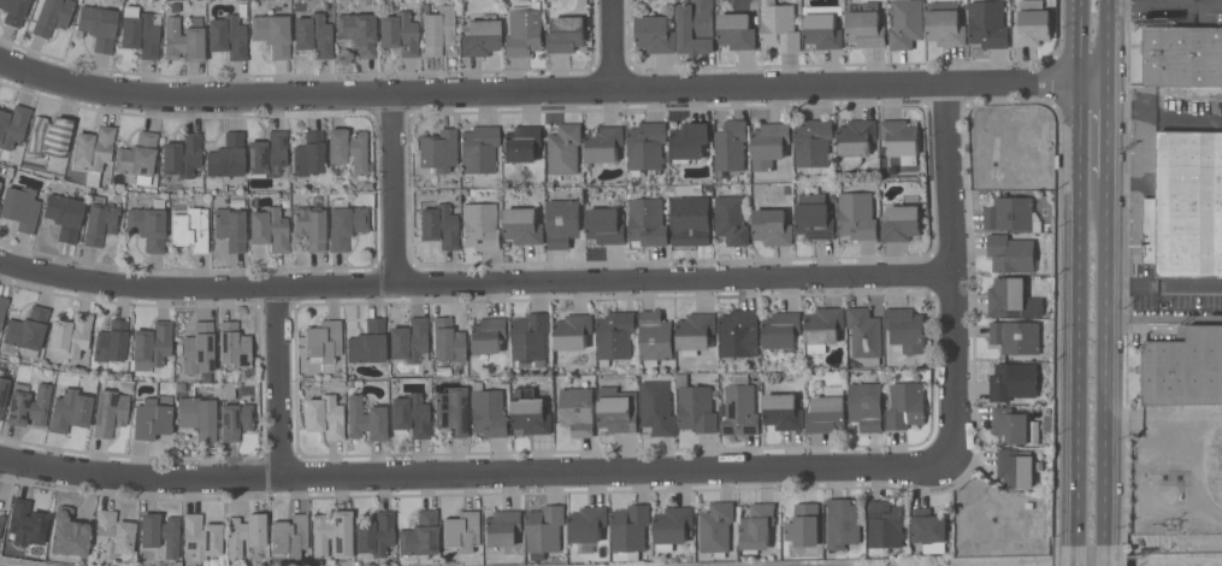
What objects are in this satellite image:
road: (1165, 4)
building: (13, 11)
building: (52, 16)
building: (907, 23)
building: (945, 24)
building: (987, 24)
building: (99, 25)
building: (822, 25)
building: (866, 25)
building: (1033, 25)
building: (779, 26)
building: (696, 28)
building: (438, 29)
building: (524, 30)
building: (140, 31)
building: (358, 31)
building: (738, 31)
building: (272, 33)
building: (399, 33)
building: (566, 34)
building: (655, 34)
building: (313, 35)
building: (228, 36)
building: (480, 37)
building: (183, 40)
road: (1109, 40)
road: (613, 46)
building: (1182, 55)
road: (551, 93)
road: (1163, 119)
building: (13, 124)
road: (1106, 128)
building: (49, 136)
building: (901, 140)
building: (689, 141)
building: (855, 141)
building: (813, 142)
building: (521, 143)
building: (604, 143)
building: (768, 145)
building: (731, 146)
building: (647, 147)
building: (348, 148)
building: (479, 148)
building: (563, 148)
building: (437, 149)
building: (93, 151)
building: (182, 154)
building: (308, 154)
building: (226, 155)
building: (268, 155)
building: (138, 157)
road: (397, 190)
building: (1186, 206)
building: (20, 207)
building: (1009, 213)
building: (64, 216)
building: (707, 216)
building: (857, 216)
building: (814, 217)
building: (647, 219)
building: (100, 222)
building: (563, 222)
building: (901, 223)
building: (148, 224)
building: (344, 225)
building: (439, 225)
building: (480, 225)
building: (604, 225)
building: (309, 226)
building: (524, 226)
building: (772, 226)
building: (190, 228)
building: (230, 228)
building: (270, 228)
building: (1013, 254)
road: (1078, 273)
road: (951, 276)
road: (474, 284)
road: (1164, 285)
building: (1011, 299)
building: (2, 307)
building: (822, 328)
building: (905, 329)
building: (781, 330)
building: (25, 331)
building: (573, 331)
building: (695, 332)
building: (739, 332)
building: (70, 334)
building: (864, 334)
building: (486, 335)
building: (615, 335)
building: (1015, 336)
building: (655, 337)
building: (409, 340)
building: (447, 340)
building: (530, 340)
building: (111, 341)
building: (323, 341)
building: (367, 342)
building: (152, 344)
building: (234, 344)
building: (197, 347)
road: (1106, 361)
building: (1183, 367)
building: (1013, 381)
road: (282, 384)
building: (2, 385)
building: (29, 406)
building: (695, 406)
building: (866, 406)
building: (905, 406)
building: (656, 407)
building: (739, 407)
building: (70, 409)
building: (616, 409)
building: (827, 409)
building: (450, 411)
building: (488, 411)
building: (577, 411)
building: (783, 411)
building: (108, 412)
building: (232, 412)
building: (530, 412)
road: (1149, 413)
building: (411, 414)
building: (197, 415)
building: (324, 415)
building: (152, 417)
building: (365, 419)
building: (1014, 426)
building: (1015, 467)
road: (476, 478)
building: (1, 519)
building: (844, 523)
building: (588, 524)
building: (886, 524)
building: (26, 525)
building: (805, 525)
building: (673, 526)
building: (758, 526)
building: (502, 527)
building: (716, 527)
building: (931, 529)
building: (461, 530)
building: (544, 530)
building: (630, 531)
building: (69, 532)
building: (113, 532)
building: (160, 532)
building: (244, 532)
building: (332, 533)
building: (374, 533)
building: (289, 535)
building: (420, 535)
building: (201, 537)
road: (1075, 556)
road: (1105, 556)

